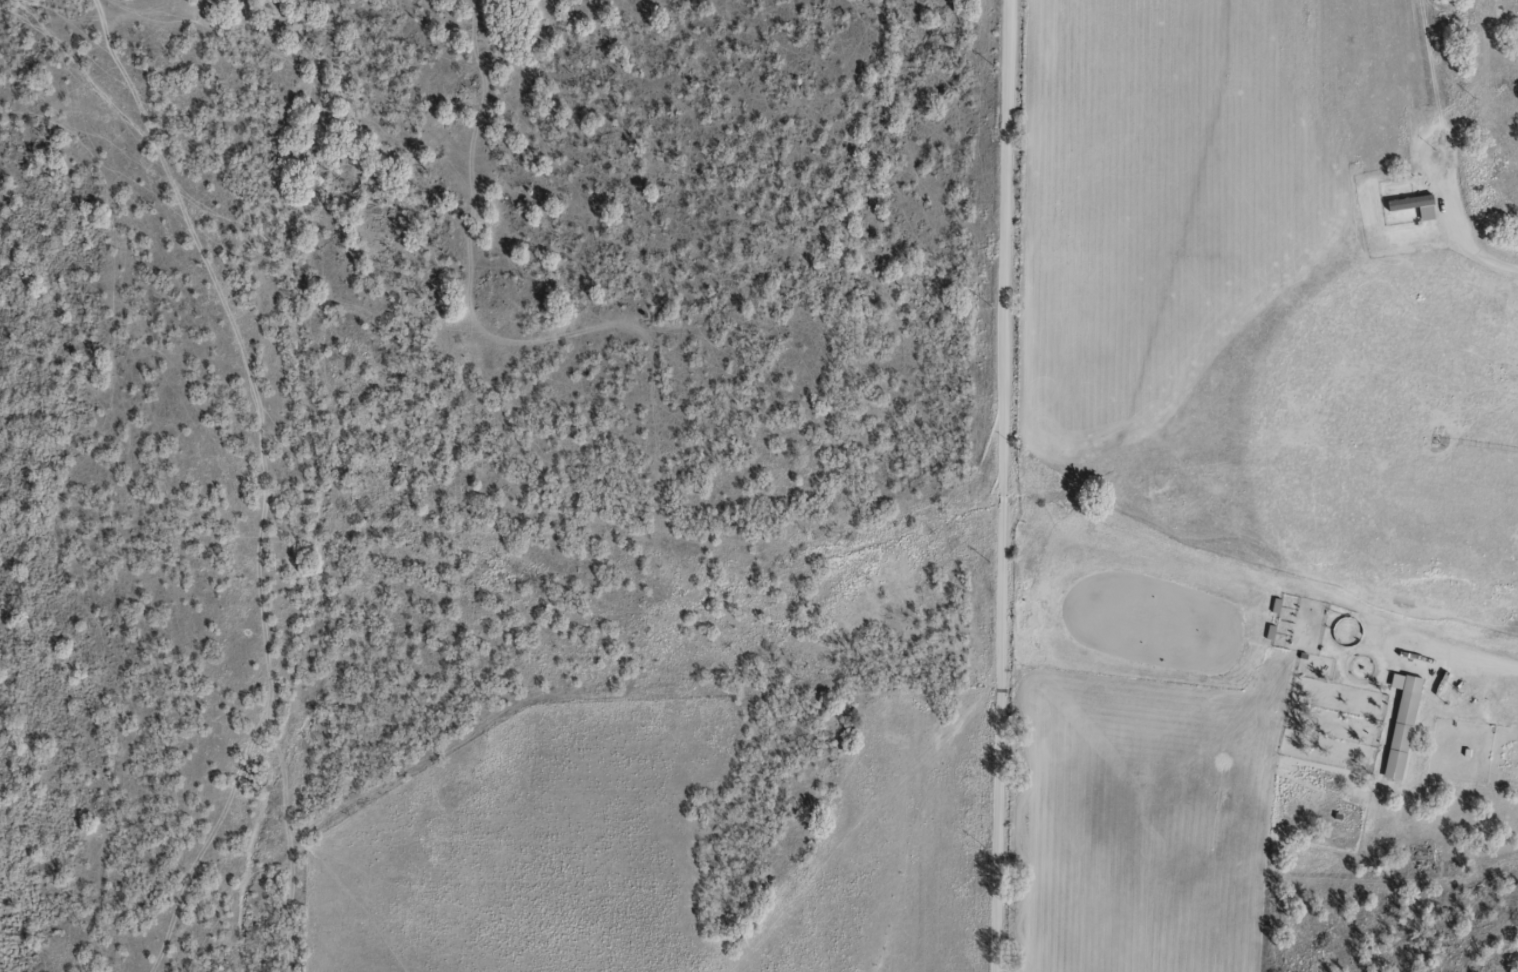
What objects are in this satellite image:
building: (1415, 205)
road: (1036, 486)
building: (1402, 725)

